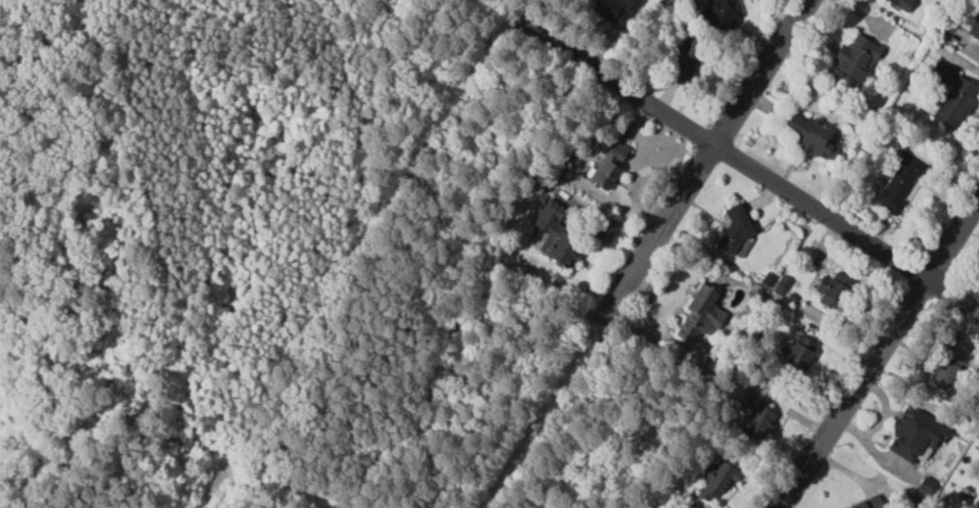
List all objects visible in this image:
building: (901, 4)
building: (617, 11)
building: (719, 14)
building: (974, 29)
building: (855, 57)
building: (685, 59)
building: (953, 97)
building: (810, 136)
road: (720, 148)
building: (607, 165)
building: (899, 184)
building: (735, 228)
building: (555, 235)
road: (642, 253)
road: (361, 263)
building: (829, 288)
road: (953, 294)
road: (674, 302)
building: (700, 315)
road: (878, 352)
building: (799, 353)
building: (947, 366)
building: (754, 415)
building: (914, 435)
building: (718, 480)
road: (283, 484)
building: (925, 485)
building: (868, 503)

